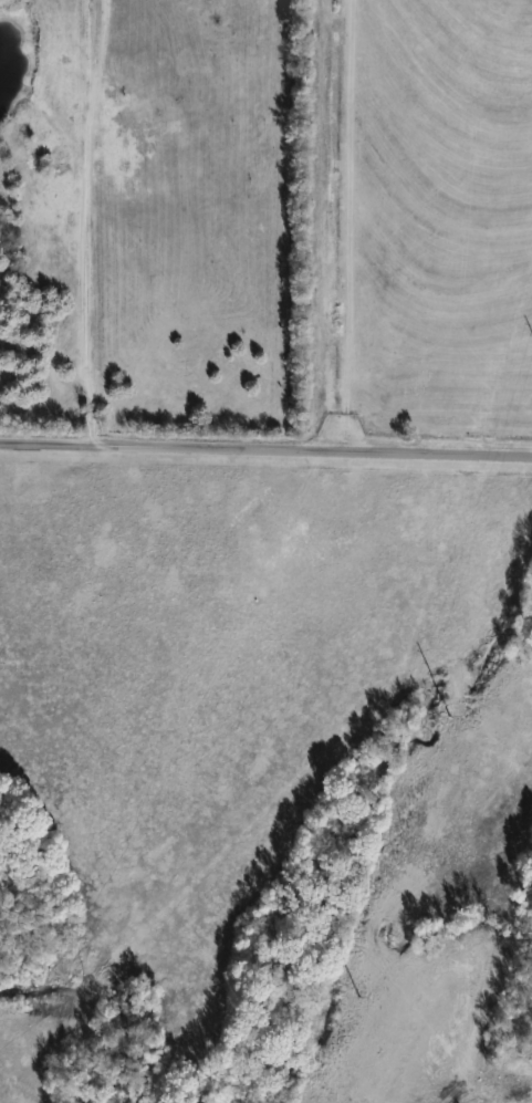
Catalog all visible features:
road: (81, 222)
road: (265, 449)
power tower: (455, 730)
power tower: (368, 1002)

